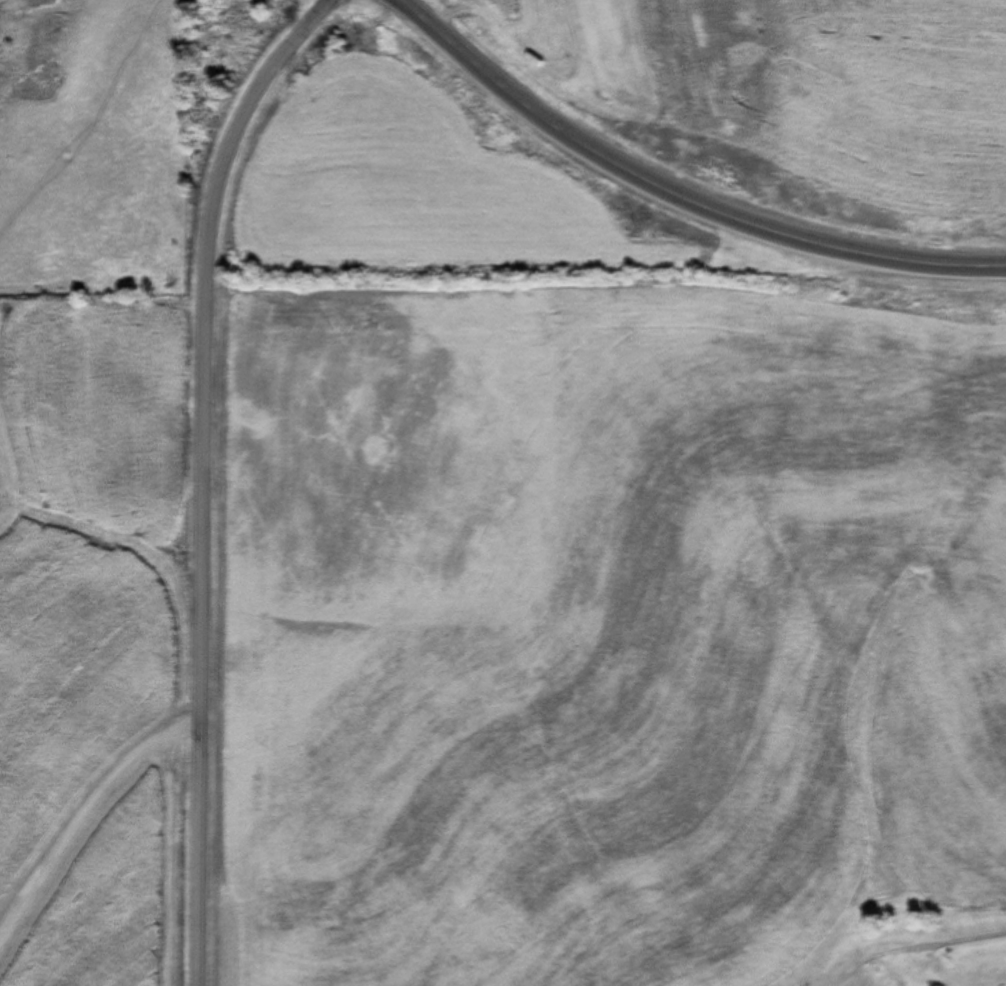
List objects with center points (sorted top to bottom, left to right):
road: (675, 194)
road: (208, 475)
road: (945, 943)
building: (991, 976)

